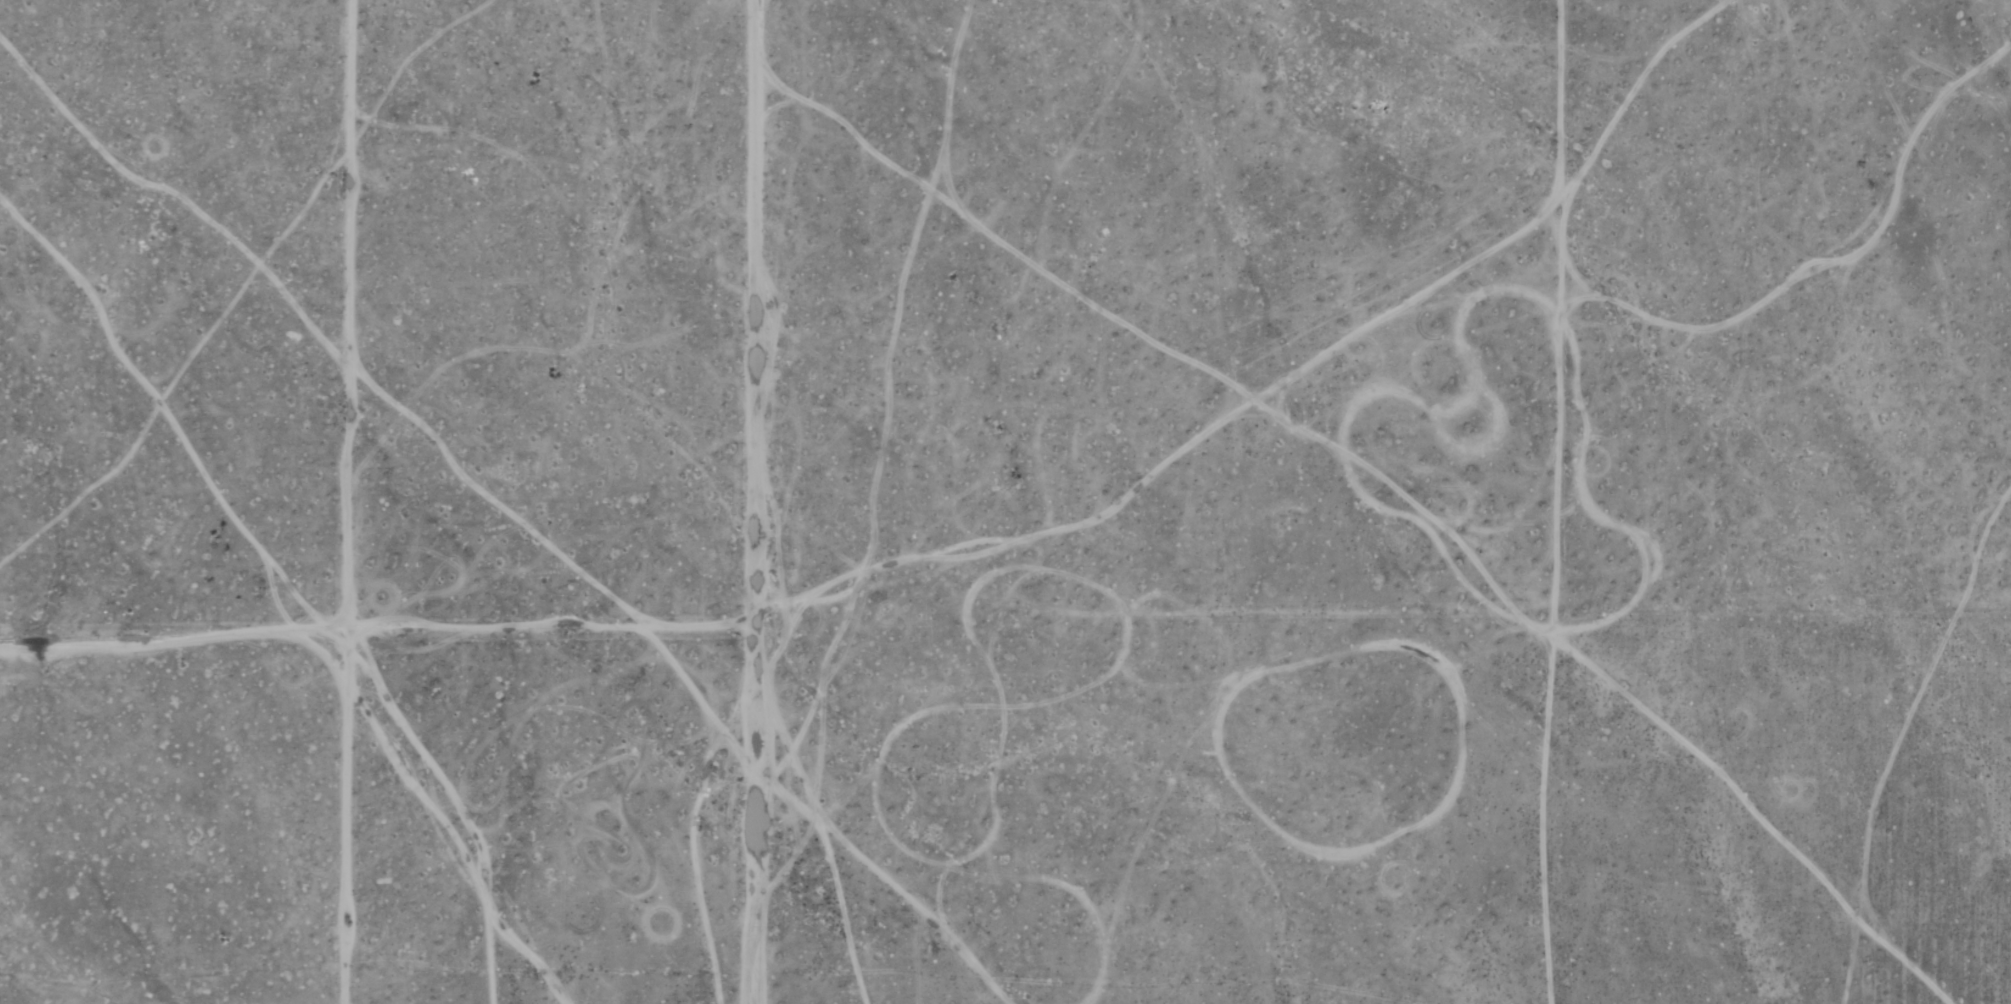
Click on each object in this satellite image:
road: (757, 502)
road: (1555, 502)
road: (378, 636)

